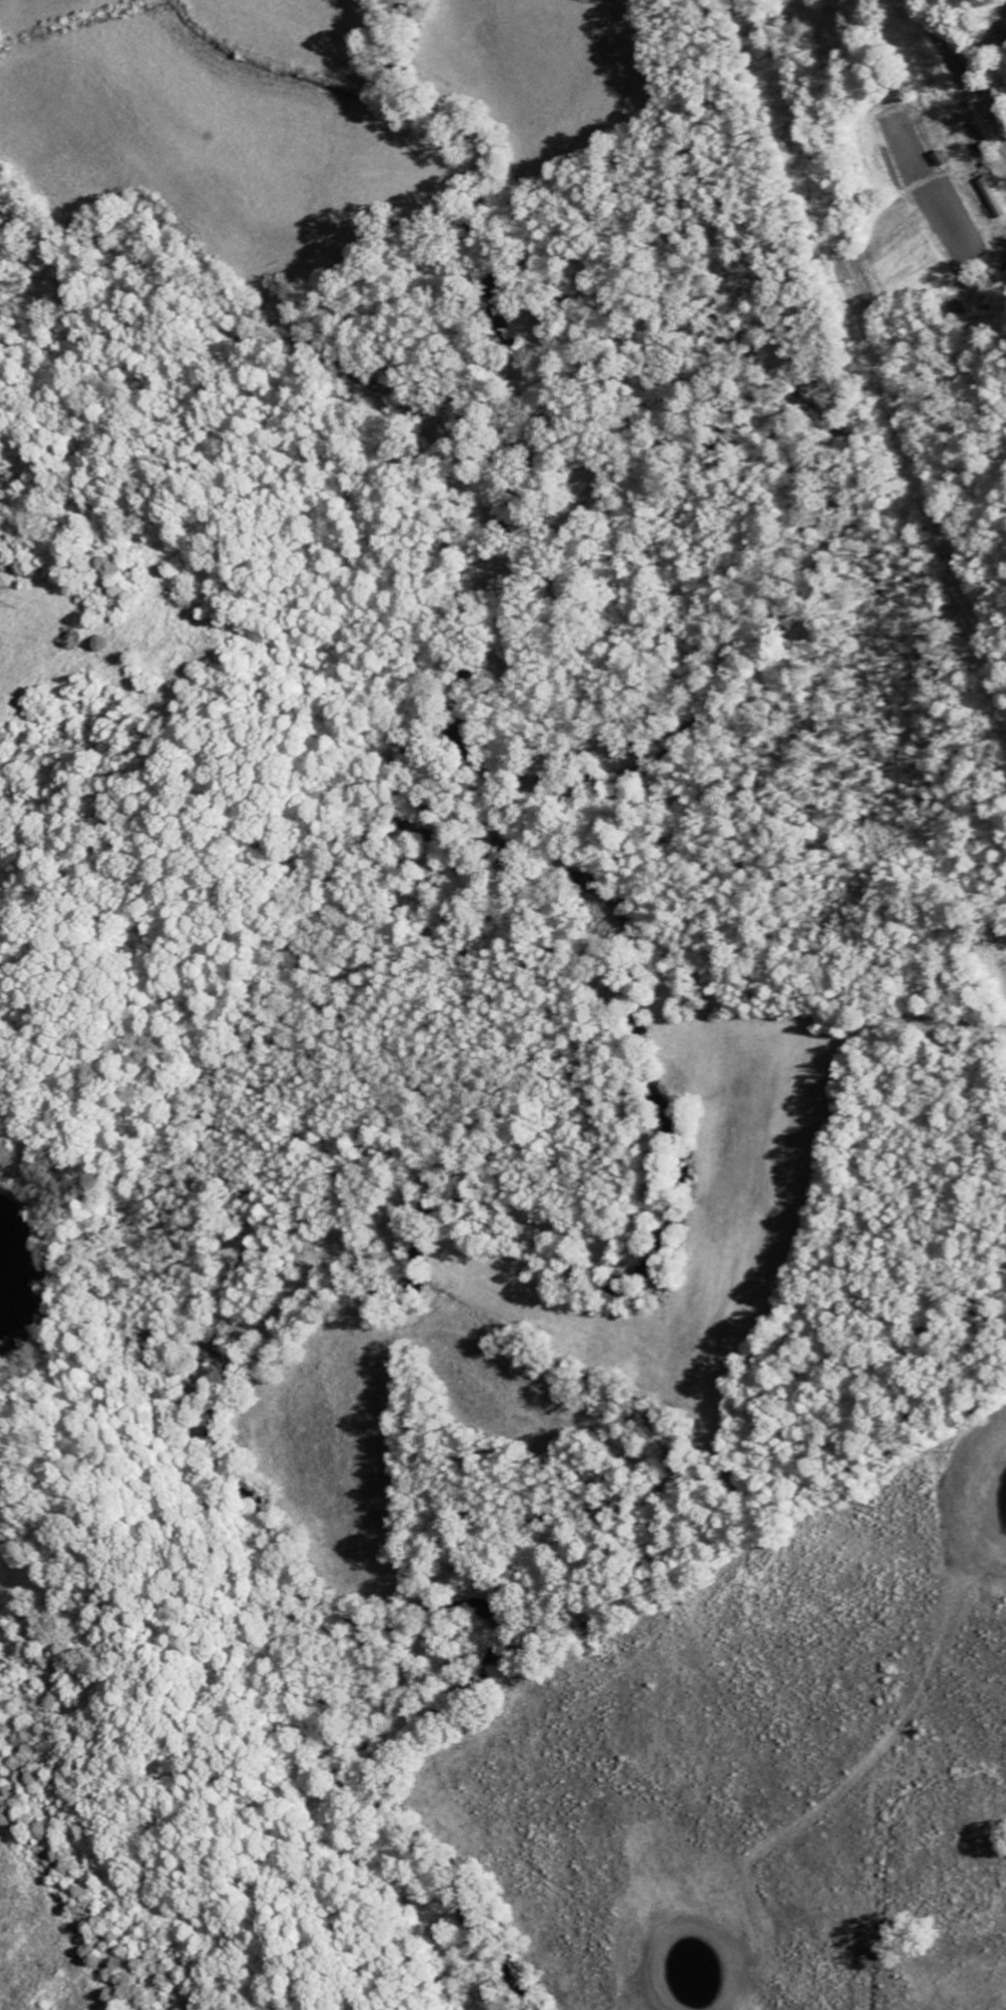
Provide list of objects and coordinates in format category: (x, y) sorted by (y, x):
road: (957, 70)

